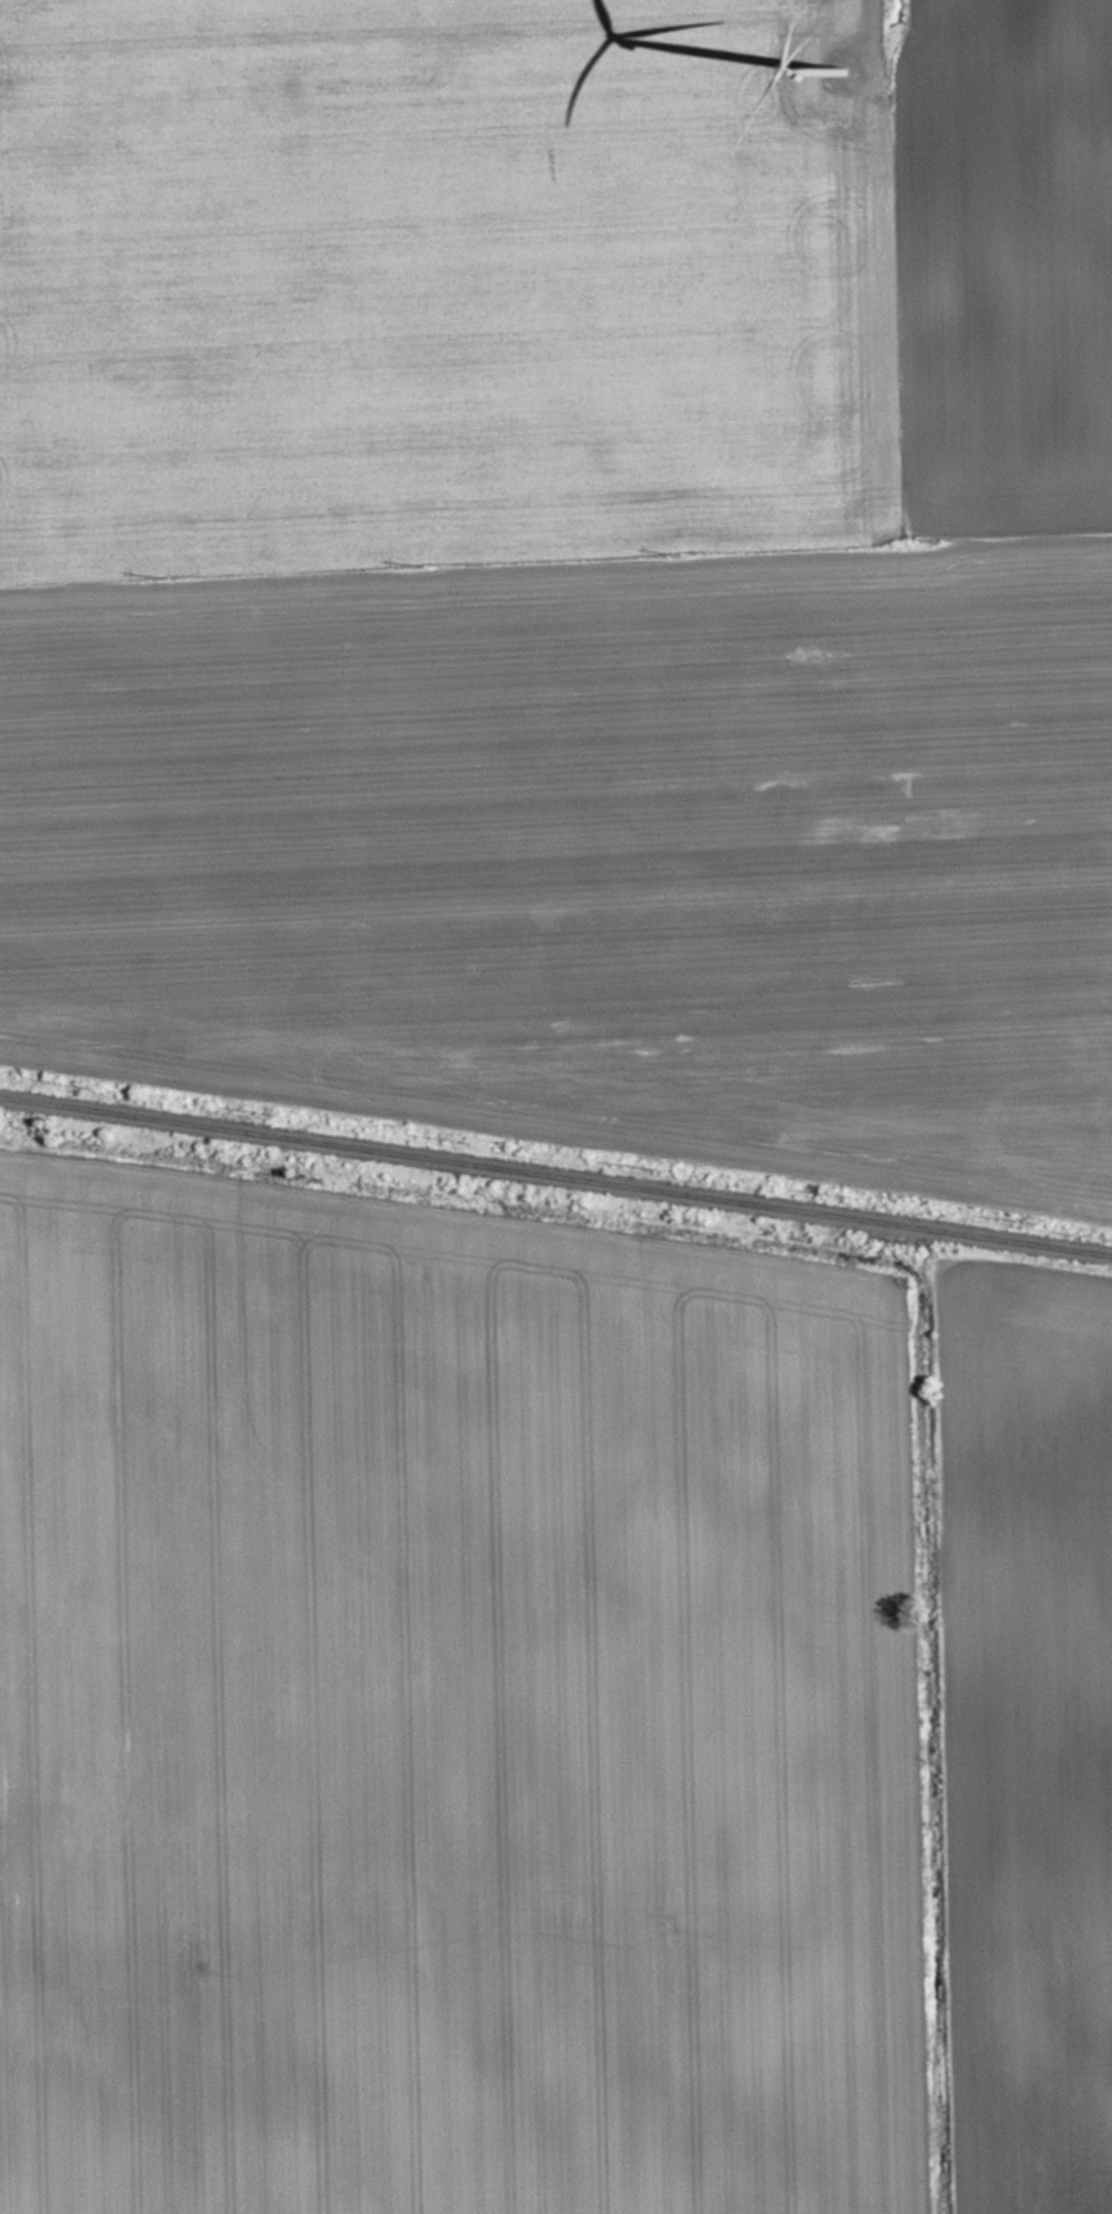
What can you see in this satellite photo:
road: (871, 31)
wind turbine: (839, 68)
railway: (555, 1178)

